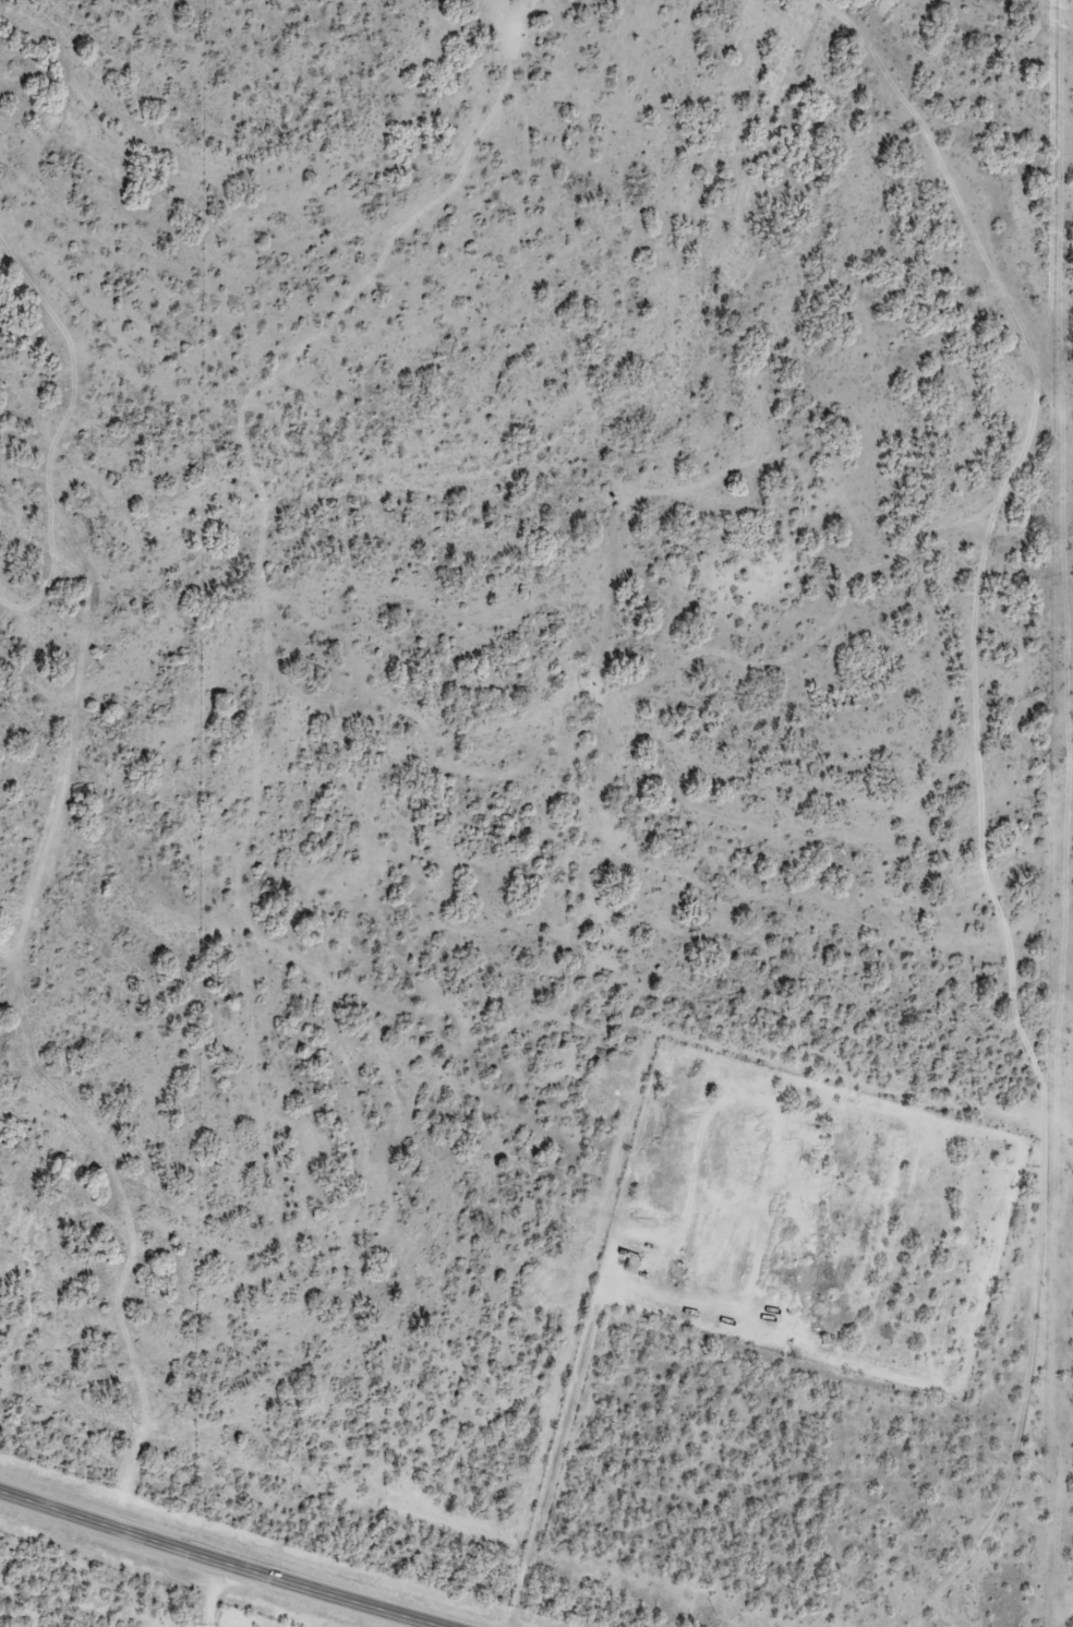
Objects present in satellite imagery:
road: (221, 1564)

